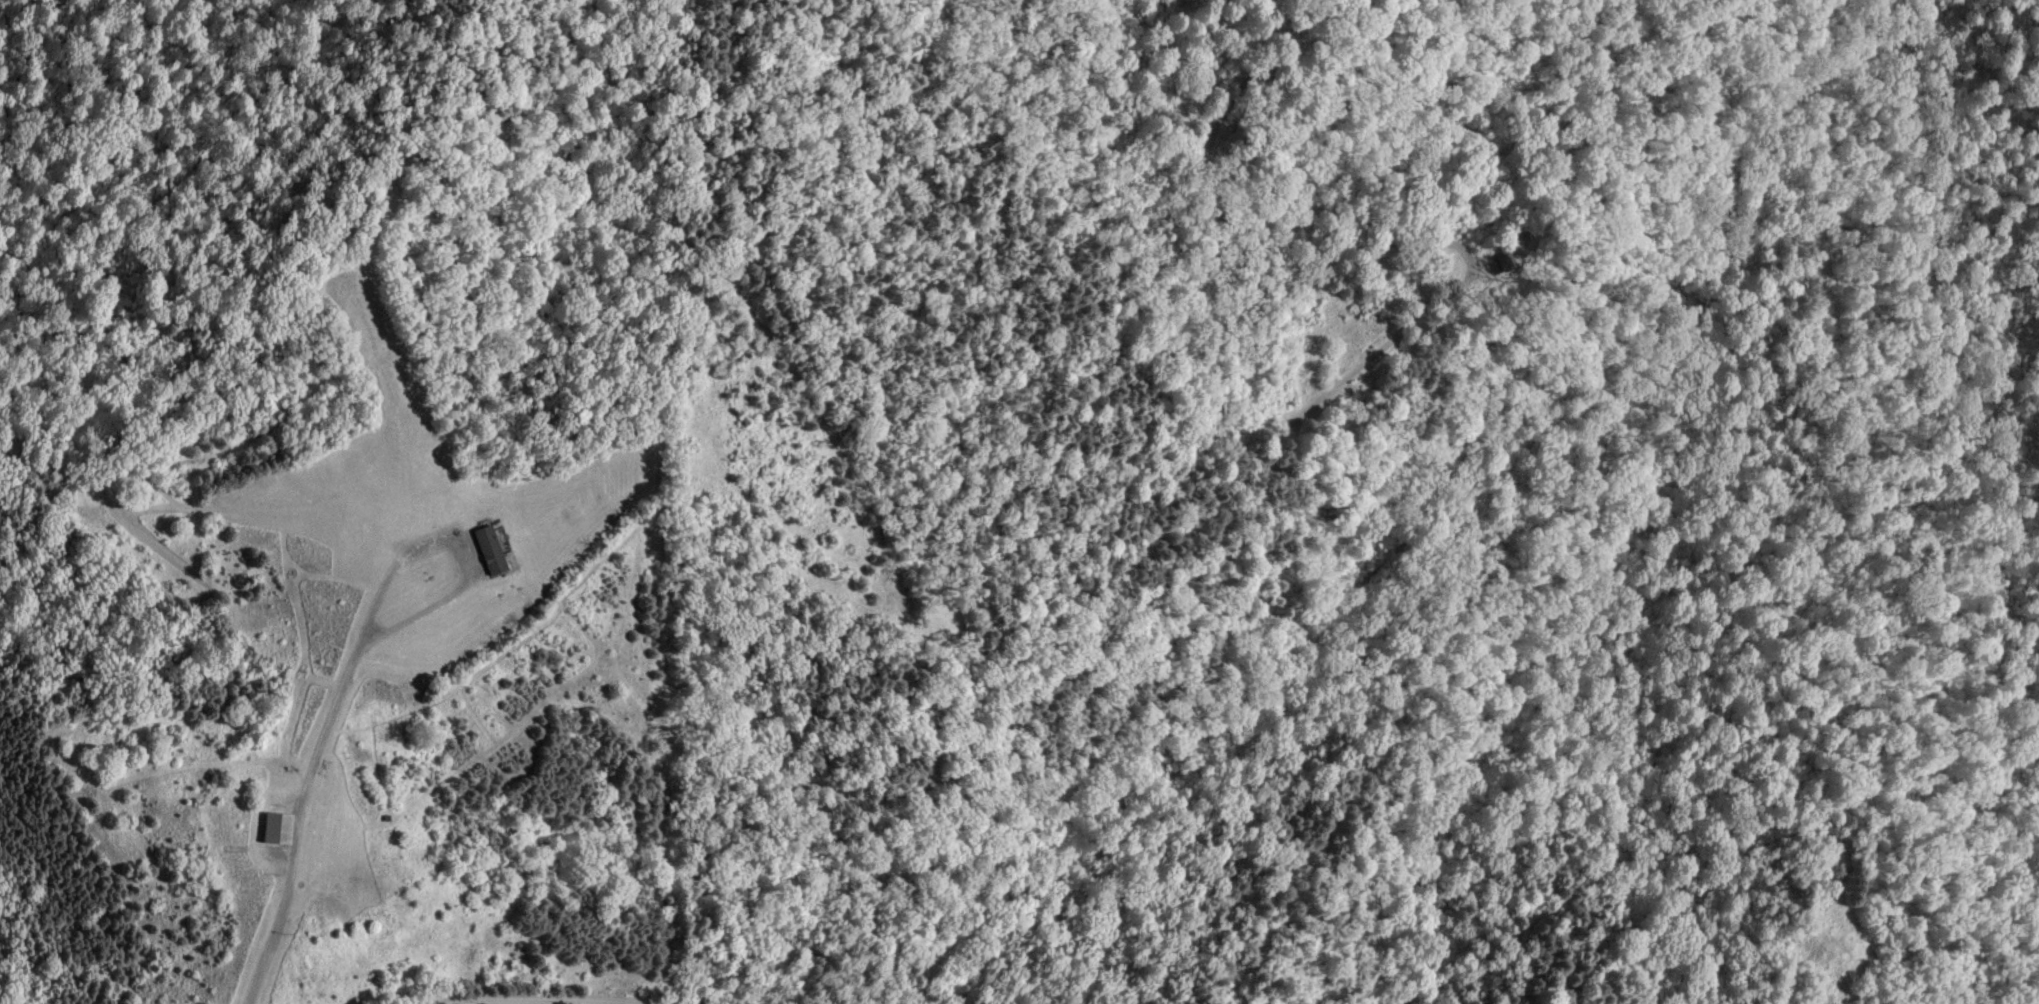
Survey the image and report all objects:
road: (30, 28)
building: (485, 550)
road: (321, 757)
building: (271, 829)
road: (545, 998)

